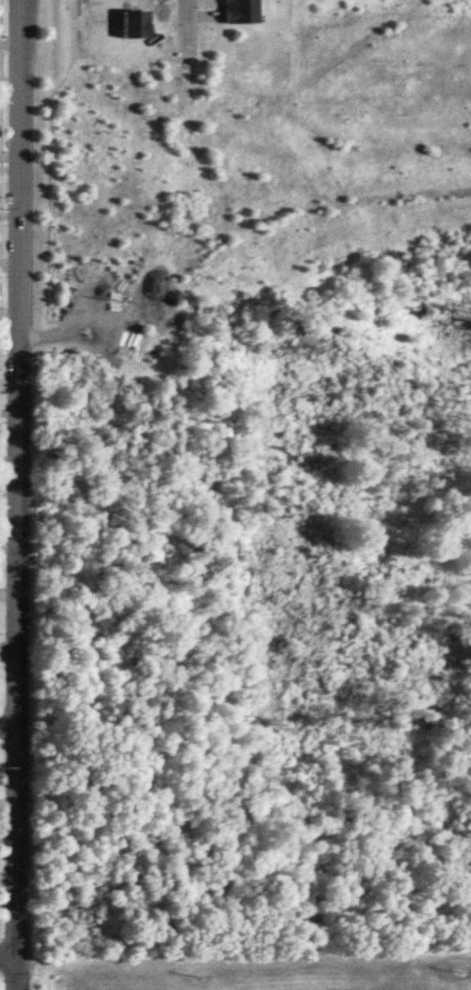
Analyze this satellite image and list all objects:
building: (241, 12)
road: (183, 63)
road: (17, 494)
road: (8, 723)
road: (8, 955)

